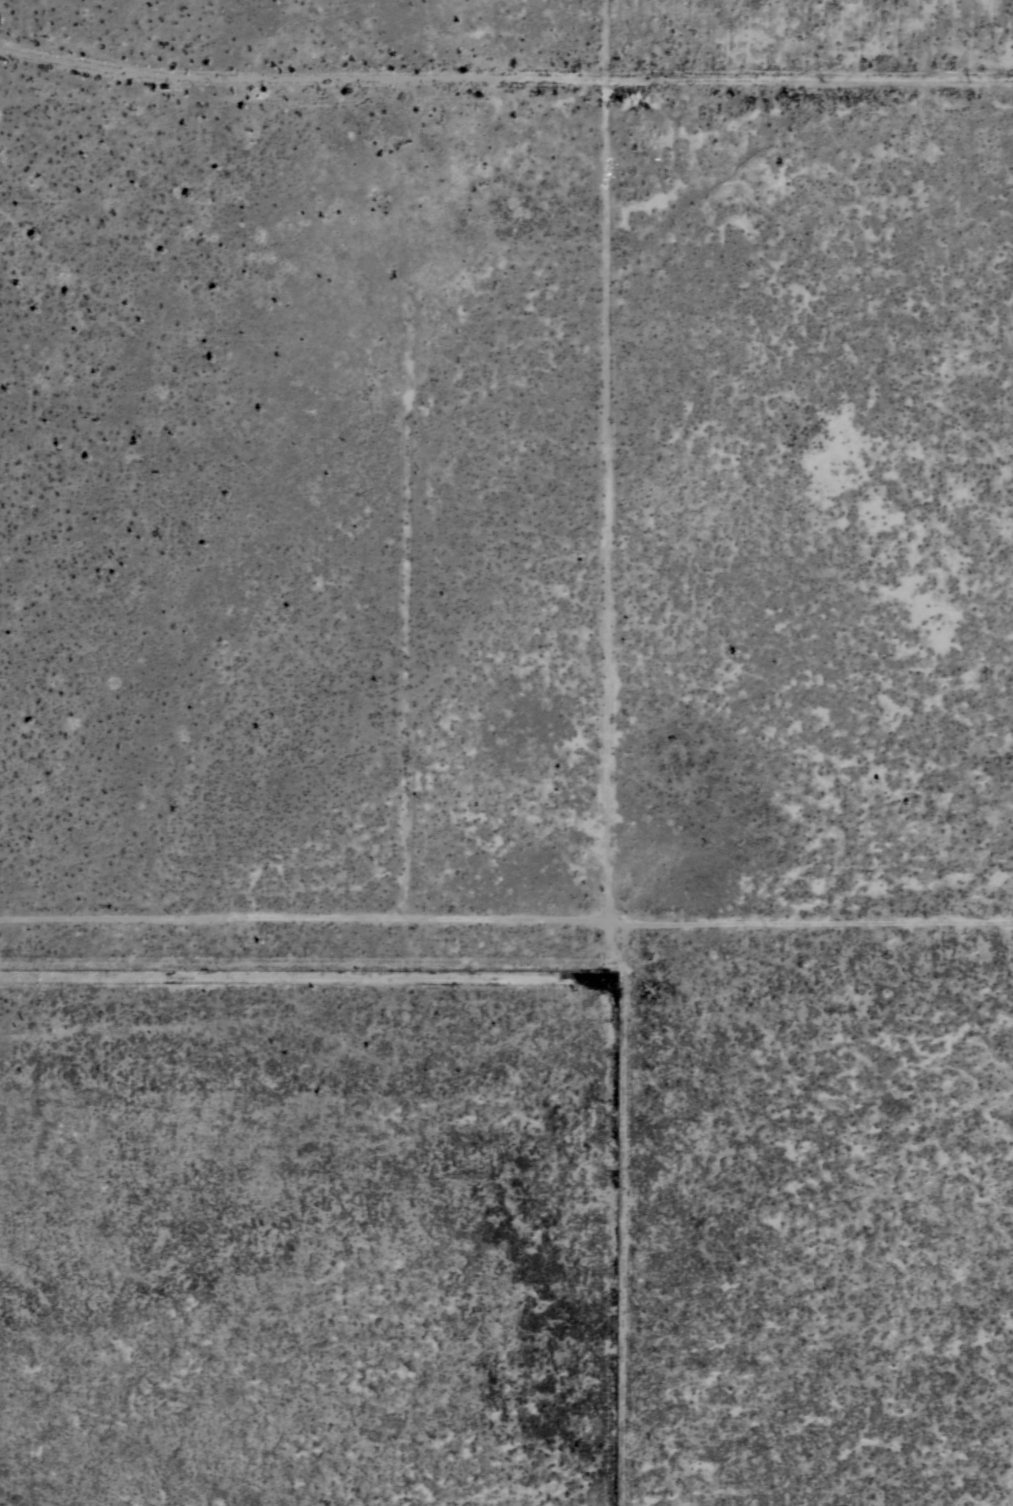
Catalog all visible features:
road: (306, 40)
road: (504, 77)
road: (308, 919)
road: (815, 923)

